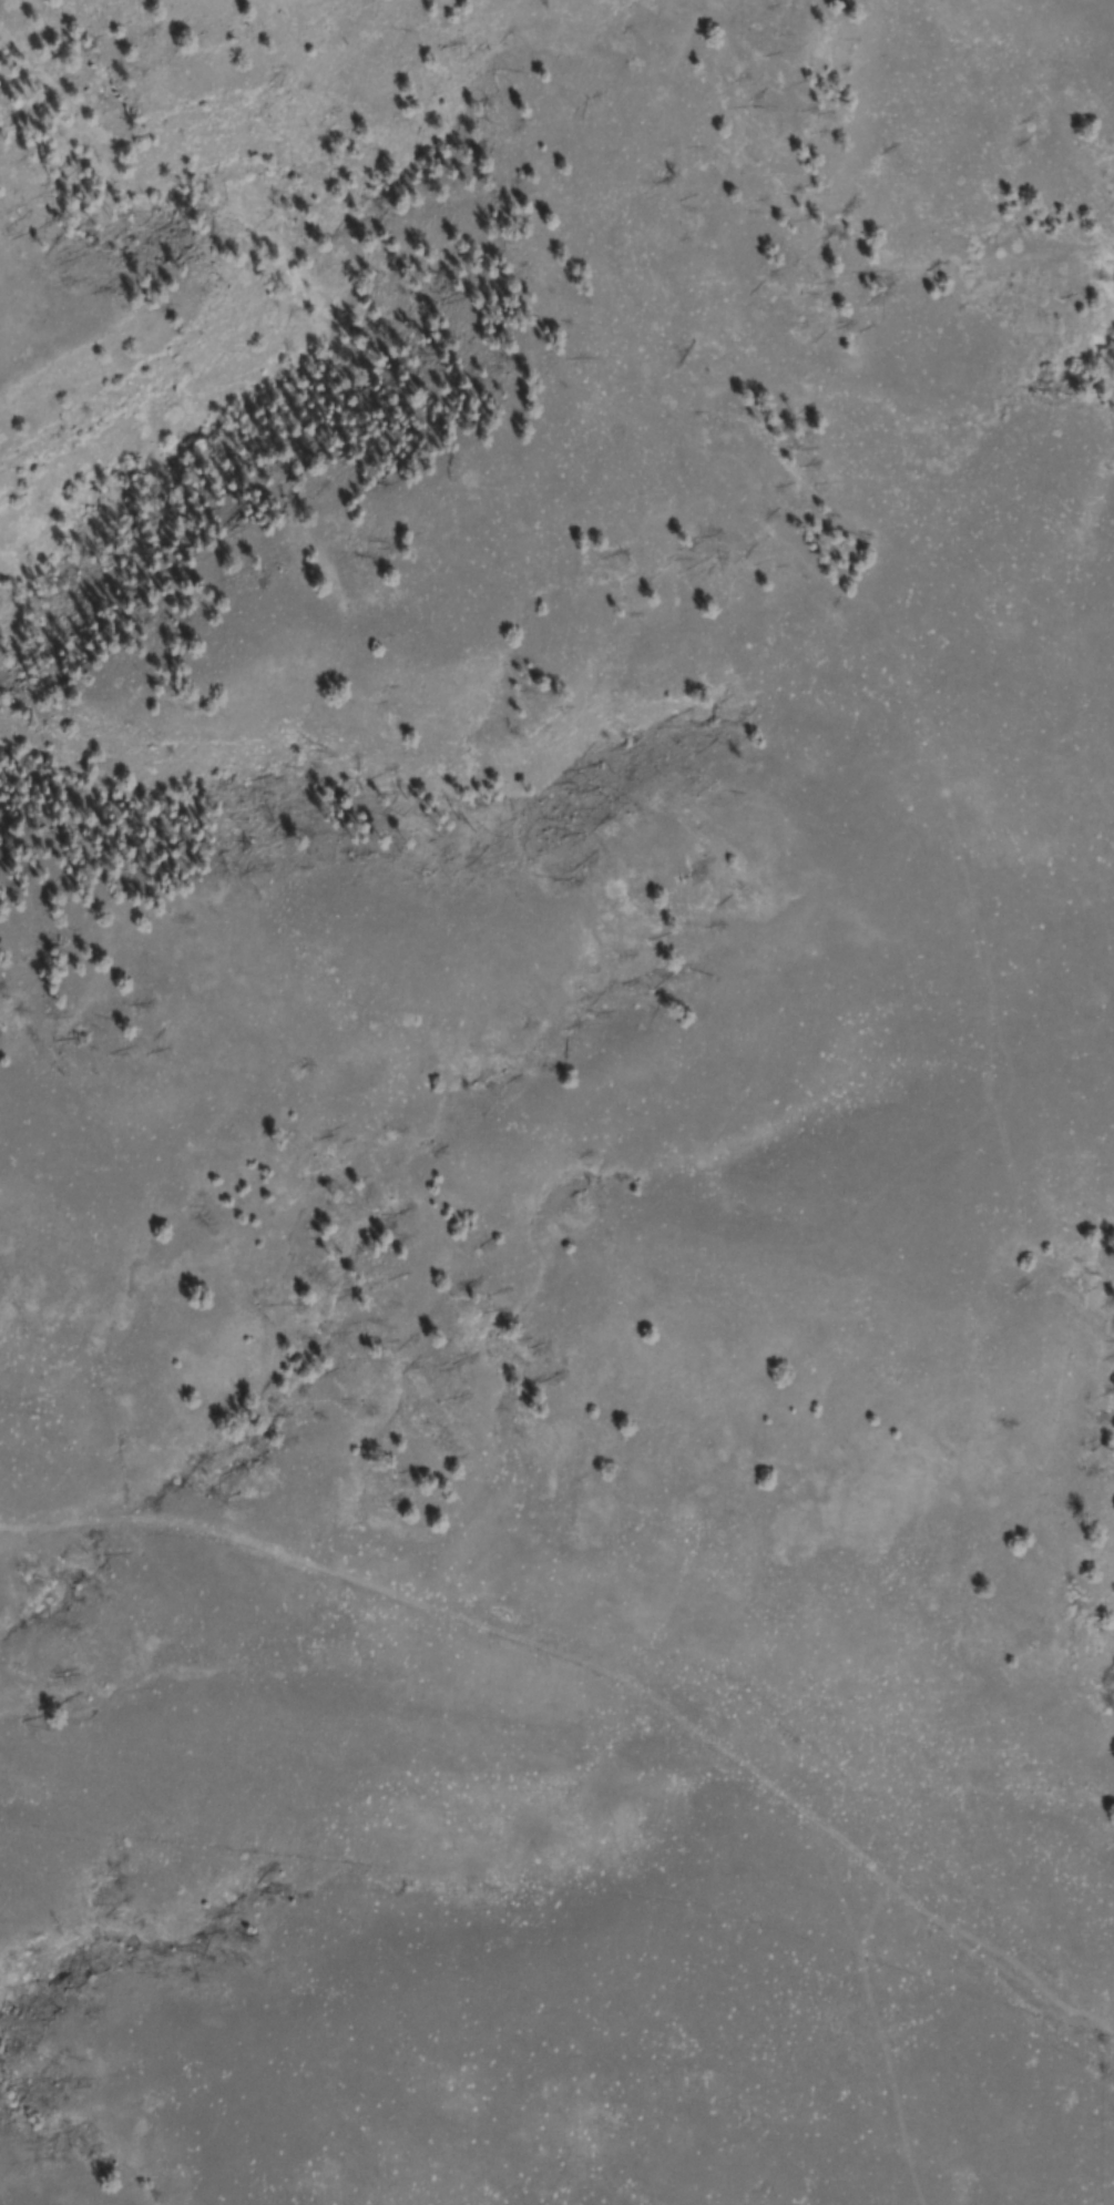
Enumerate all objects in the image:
park: (1112, 2107)

